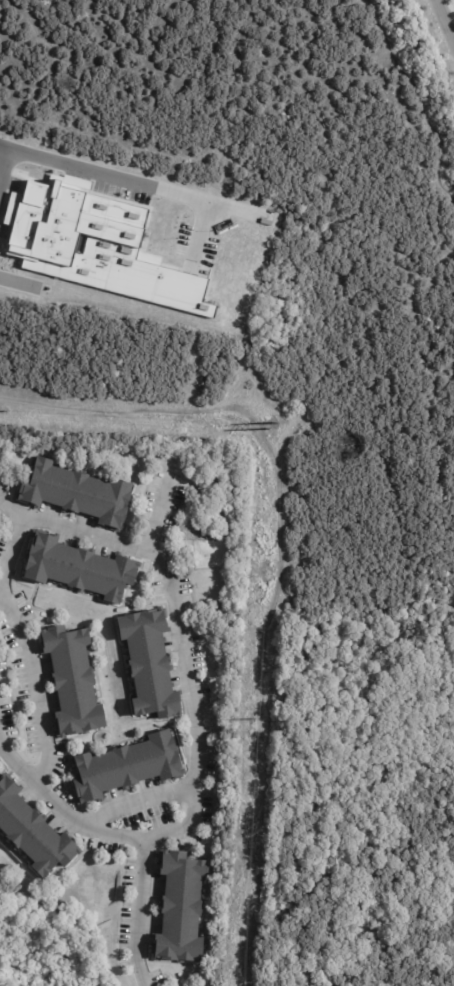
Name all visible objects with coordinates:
road: (444, 21)
road: (3, 161)
road: (0, 167)
road: (131, 183)
road: (199, 232)
building: (94, 245)
road: (3, 279)
power tower: (4, 411)
power tower: (266, 427)
building: (79, 494)
road: (15, 542)
road: (121, 544)
building: (81, 570)
building: (150, 666)
building: (74, 682)
road: (37, 687)
power tower: (251, 720)
building: (129, 767)
road: (194, 793)
road: (135, 800)
building: (33, 833)
building: (182, 909)
road: (141, 913)

